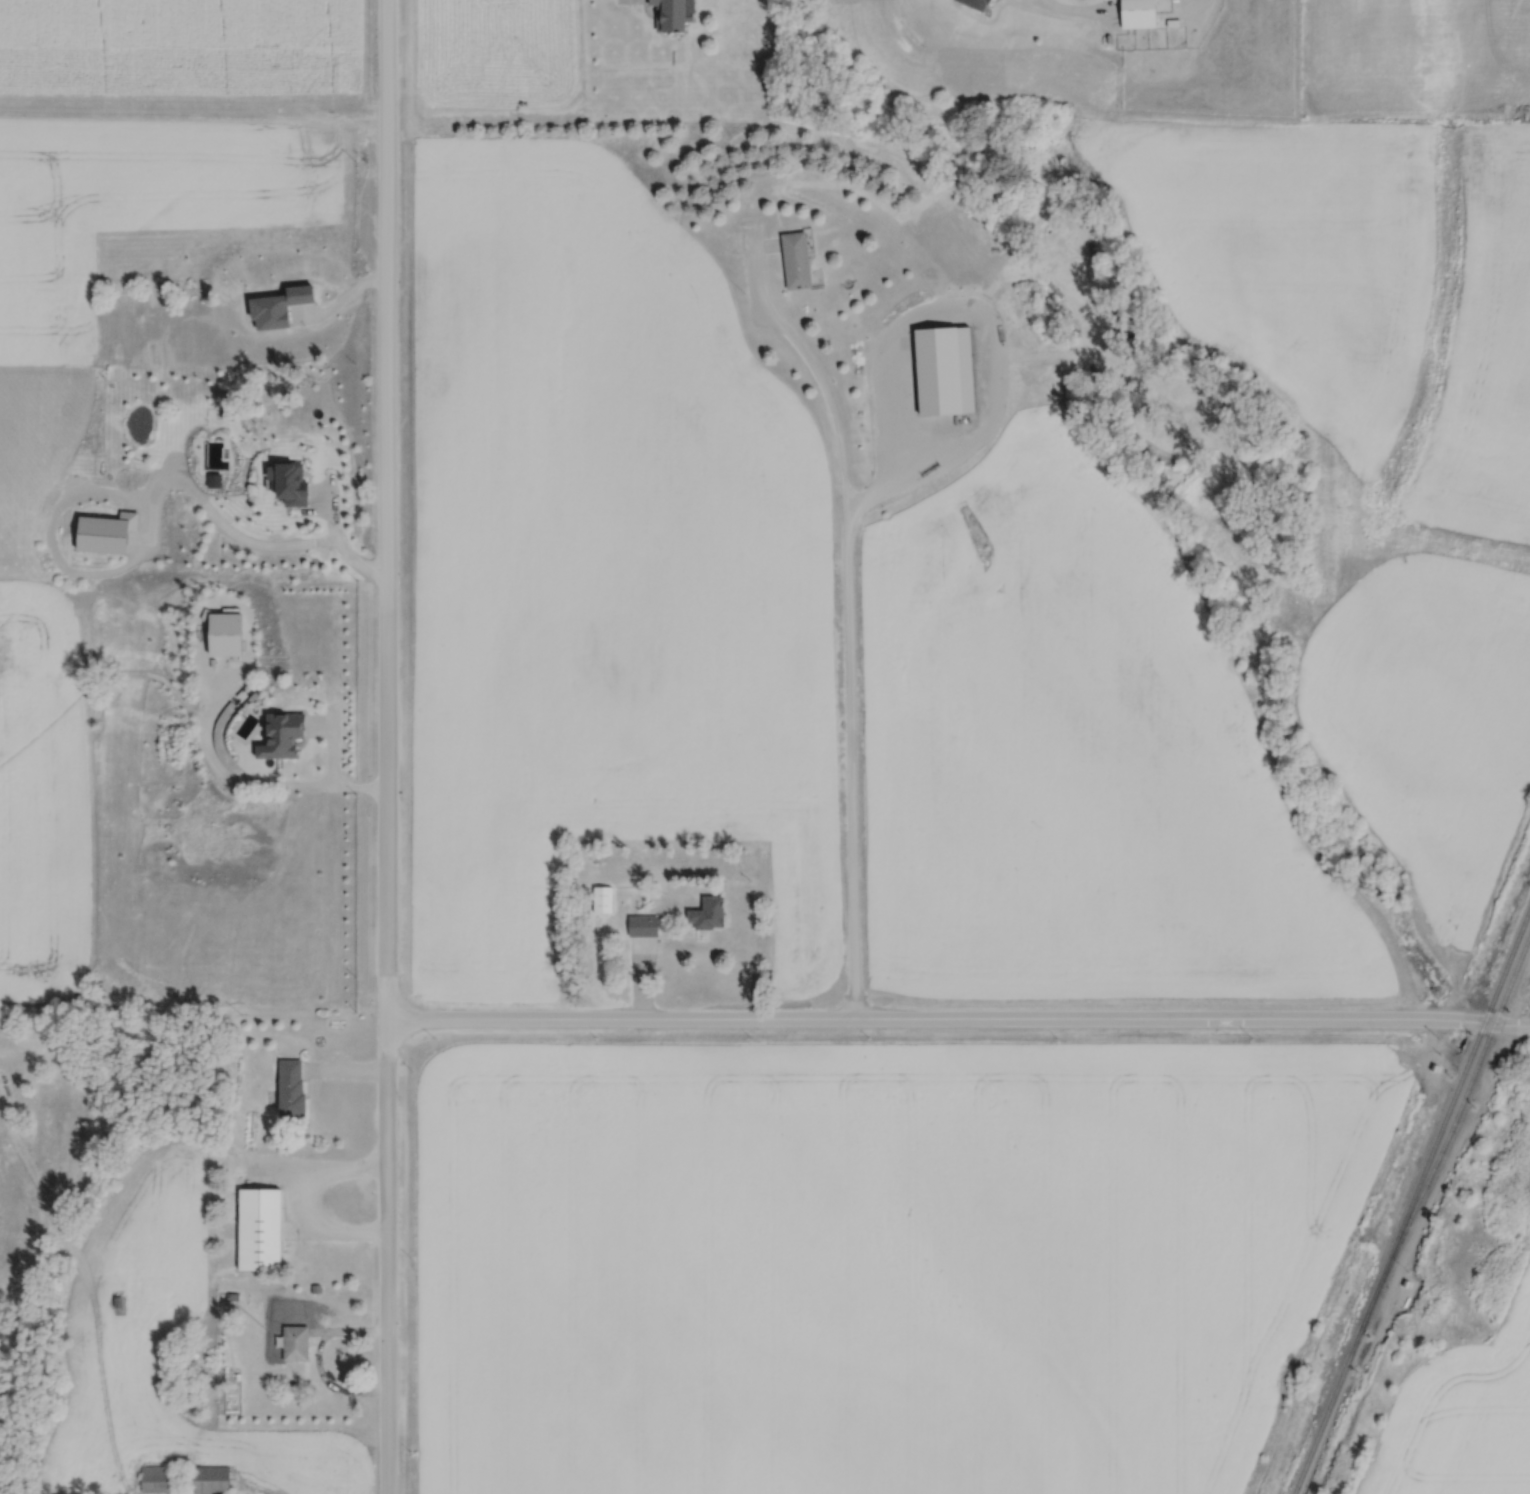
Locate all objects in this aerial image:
building: (969, 4)
building: (677, 14)
road: (1070, 14)
building: (1133, 14)
building: (791, 259)
road: (340, 297)
road: (988, 321)
building: (933, 369)
building: (296, 484)
road: (150, 512)
road: (849, 615)
road: (331, 627)
road: (382, 746)
road: (247, 782)
building: (599, 898)
building: (703, 913)
building: (637, 925)
road: (955, 1023)
building: (295, 1087)
railway: (1449, 1131)
railway: (1410, 1199)
road: (304, 1201)
building: (263, 1228)
building: (298, 1343)
road: (319, 1364)
building: (161, 1479)
building: (206, 1480)

